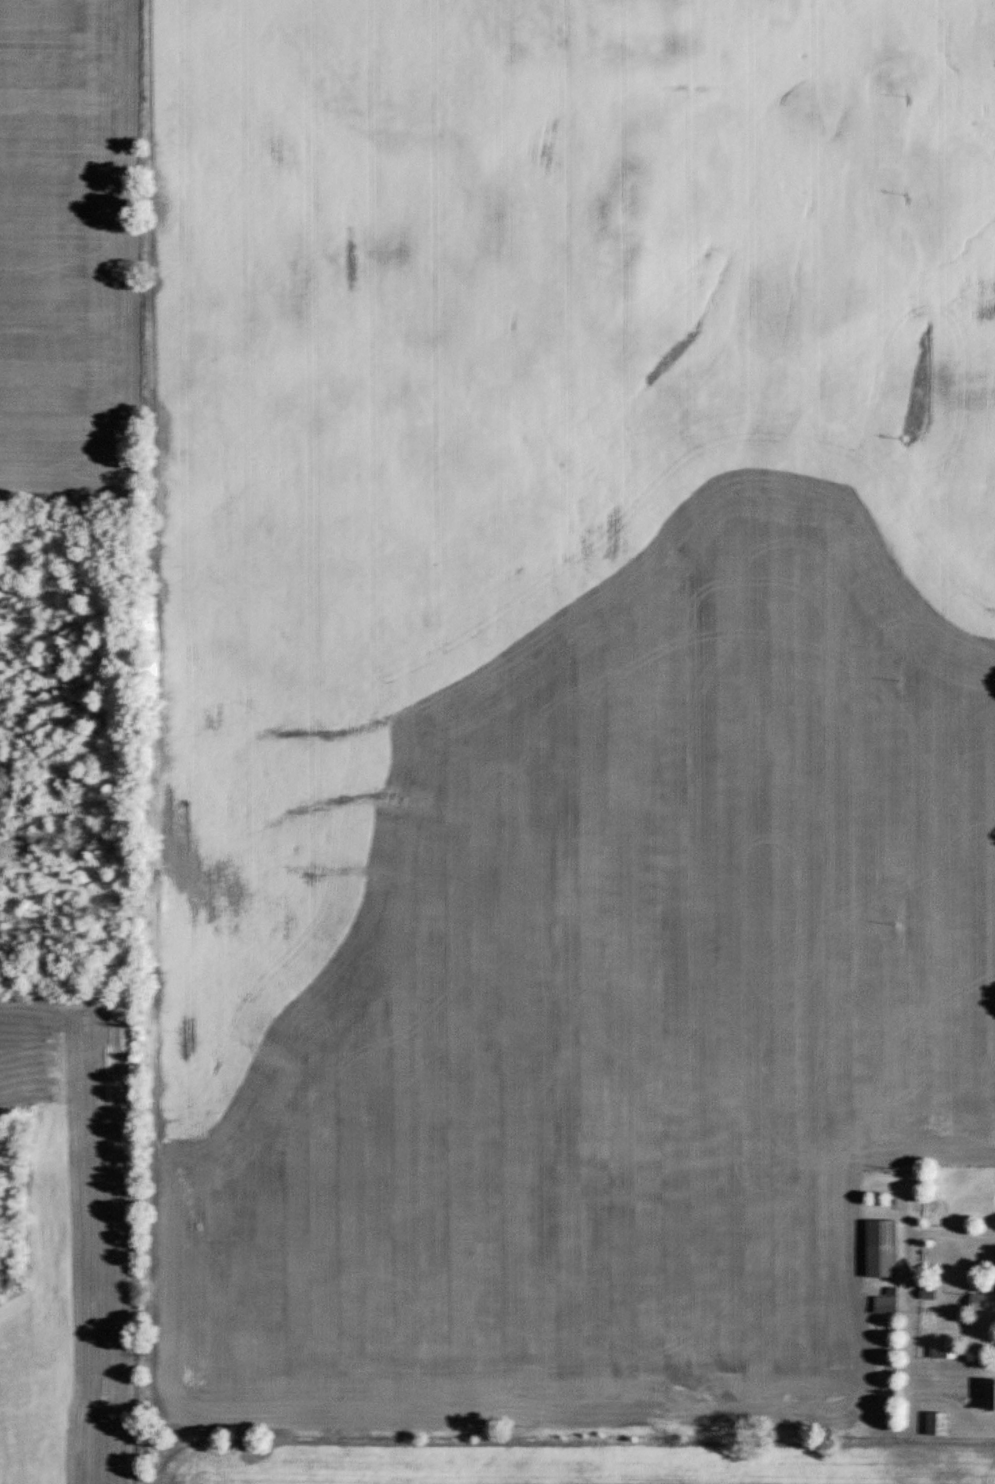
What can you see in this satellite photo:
building: (883, 1248)
road: (975, 1261)
building: (887, 1302)
building: (980, 1302)
building: (944, 1348)
building: (993, 1393)
building: (939, 1422)

